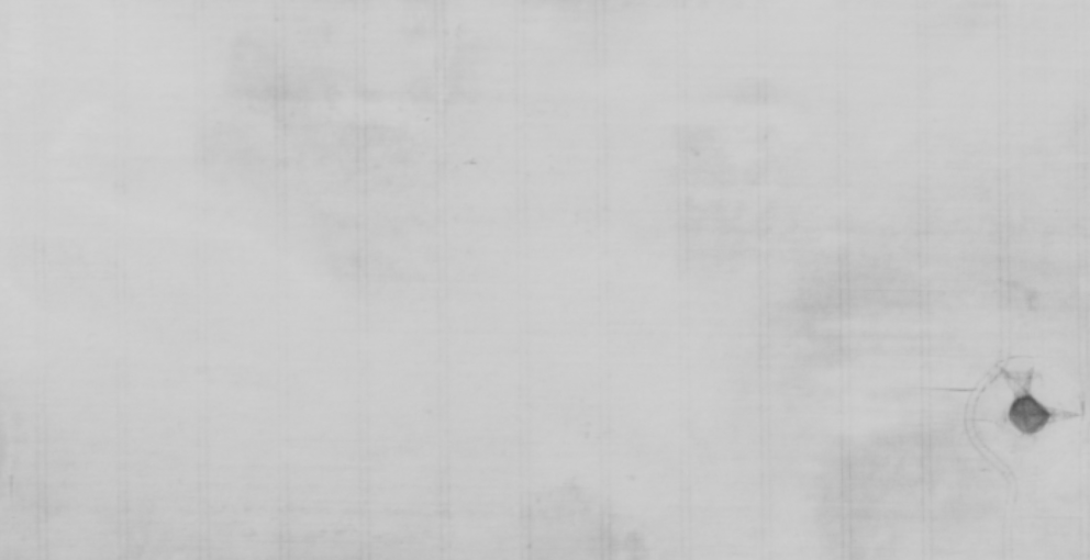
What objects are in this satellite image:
power tower: (1030, 416)

